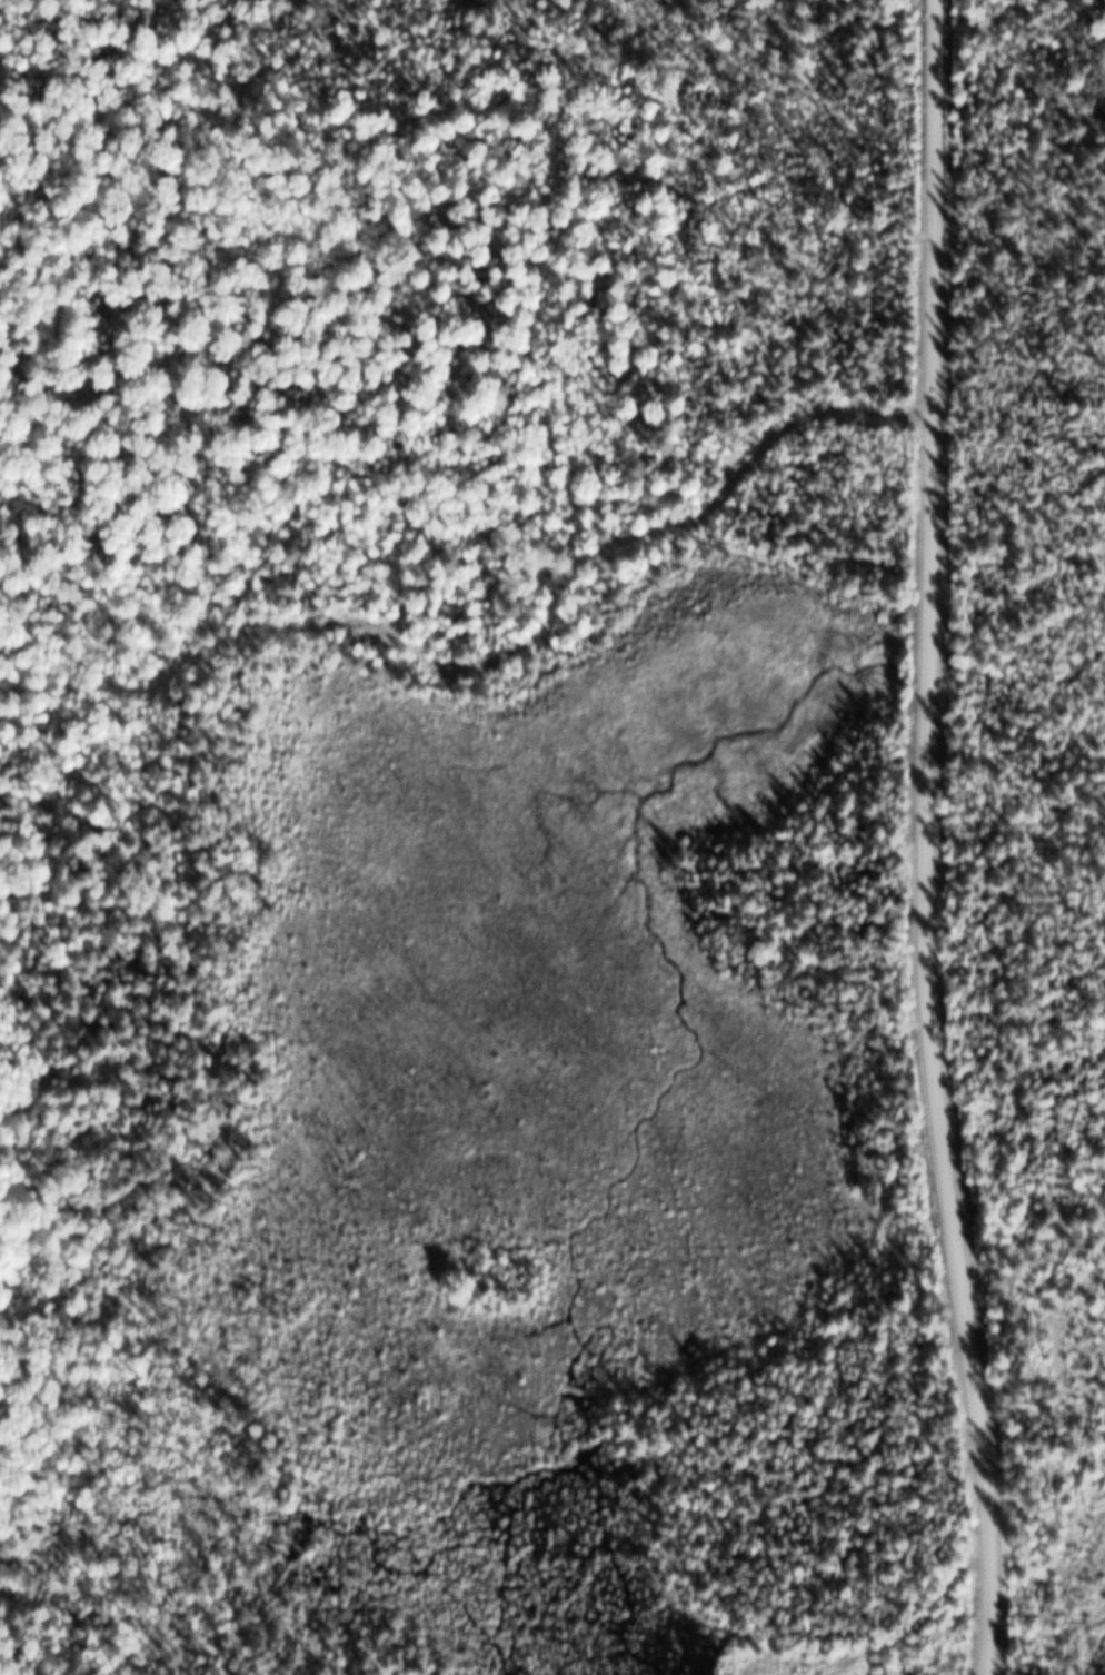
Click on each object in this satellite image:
road: (932, 839)

